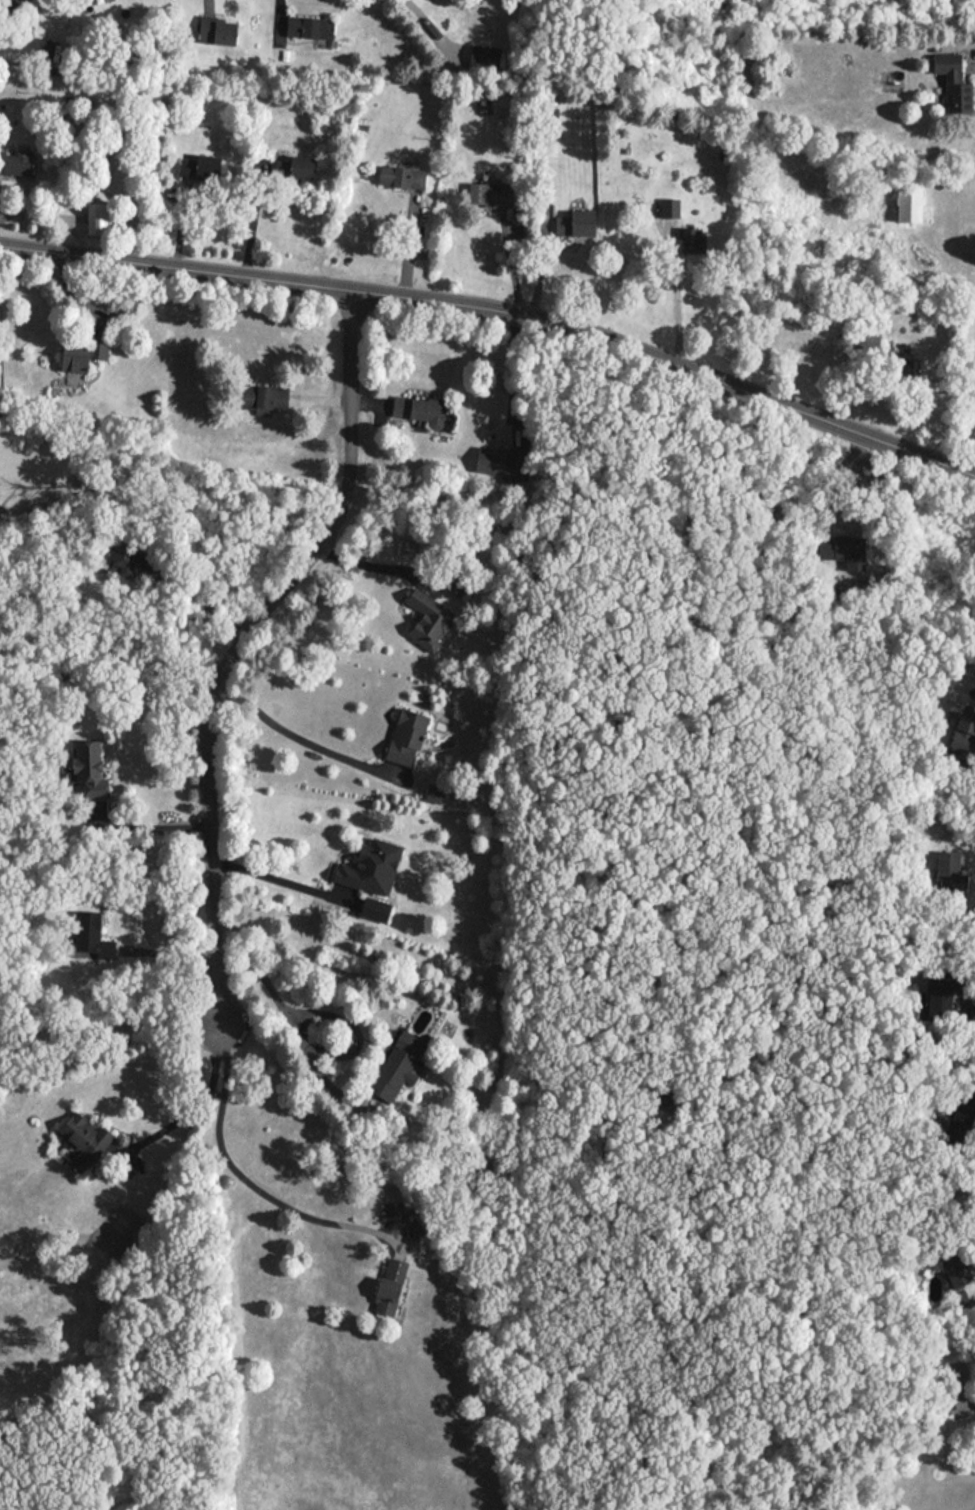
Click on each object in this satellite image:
road: (430, 25)
building: (311, 28)
building: (218, 30)
road: (960, 39)
building: (956, 84)
building: (503, 106)
building: (18, 163)
building: (304, 167)
building: (202, 168)
building: (401, 177)
building: (492, 193)
building: (913, 201)
building: (101, 218)
road: (249, 219)
building: (578, 223)
building: (677, 224)
road: (675, 299)
road: (500, 310)
building: (83, 355)
building: (266, 399)
building: (421, 410)
road: (970, 420)
building: (498, 461)
building: (845, 548)
building: (130, 560)
road: (374, 566)
road: (160, 587)
building: (429, 618)
road: (229, 639)
building: (965, 730)
building: (408, 737)
road: (298, 739)
road: (962, 767)
building: (90, 769)
road: (147, 827)
building: (948, 861)
building: (372, 866)
road: (275, 880)
building: (91, 933)
road: (970, 1010)
road: (297, 1037)
building: (399, 1067)
road: (199, 1104)
building: (86, 1139)
road: (236, 1187)
building: (394, 1211)
building: (959, 1269)
building: (394, 1287)
building: (957, 1384)

